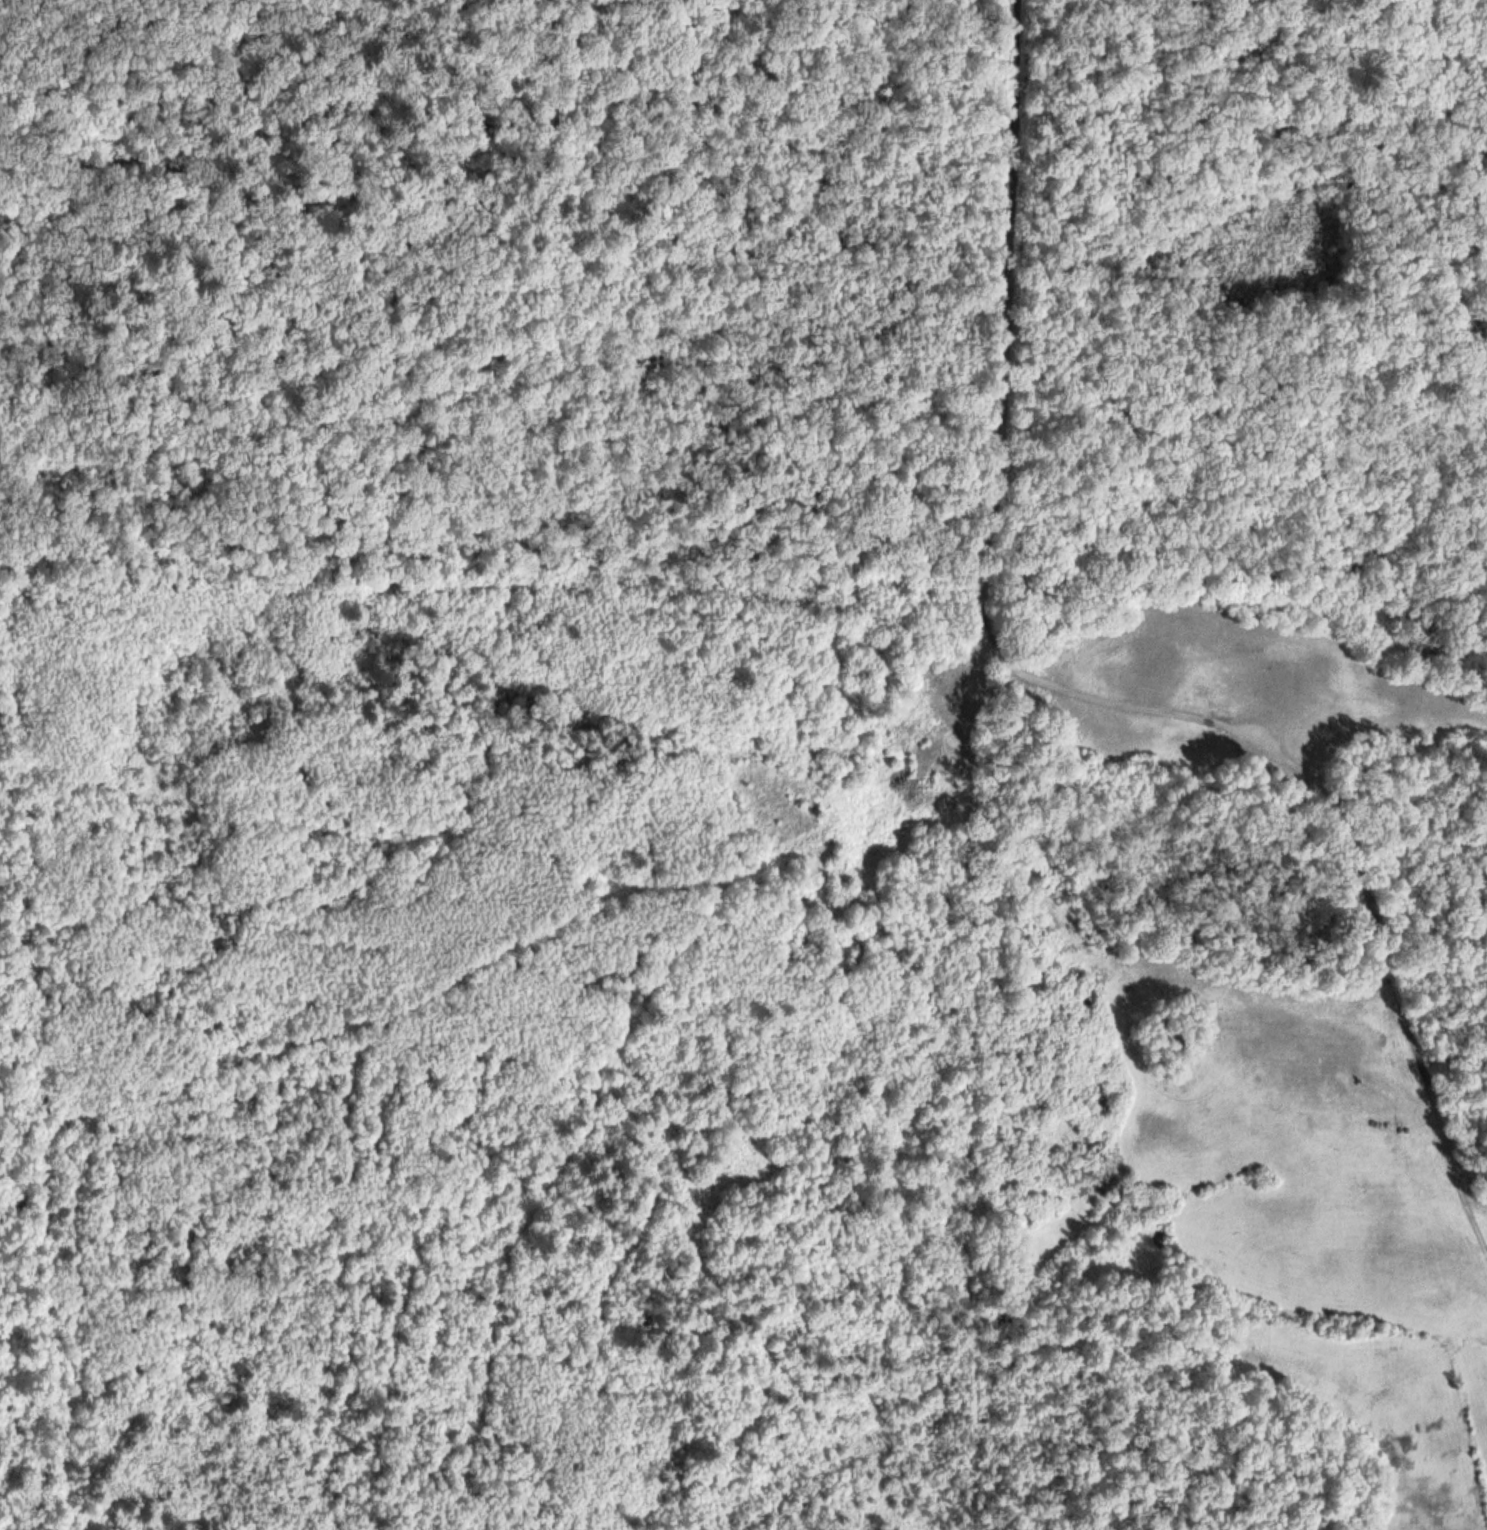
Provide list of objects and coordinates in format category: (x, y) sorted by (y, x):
road: (990, 764)
road: (1438, 1125)

